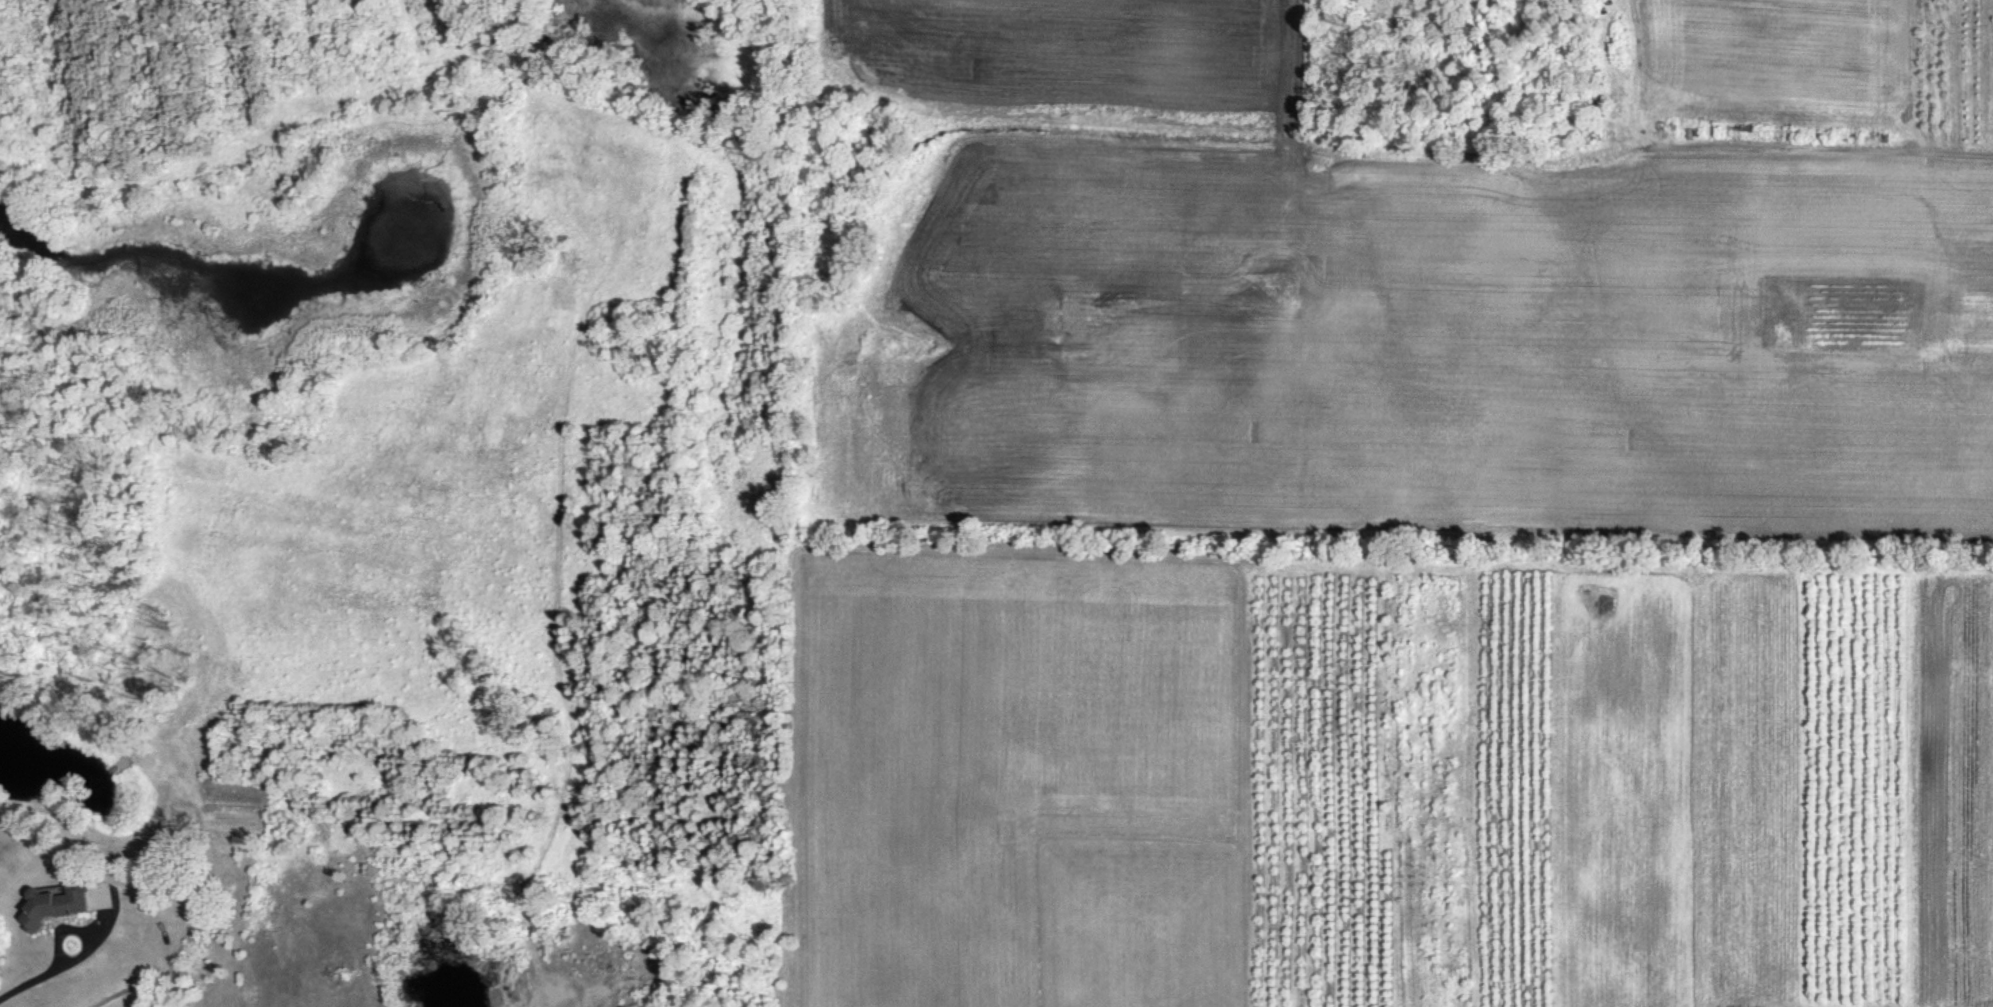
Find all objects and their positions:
road: (41, 974)

